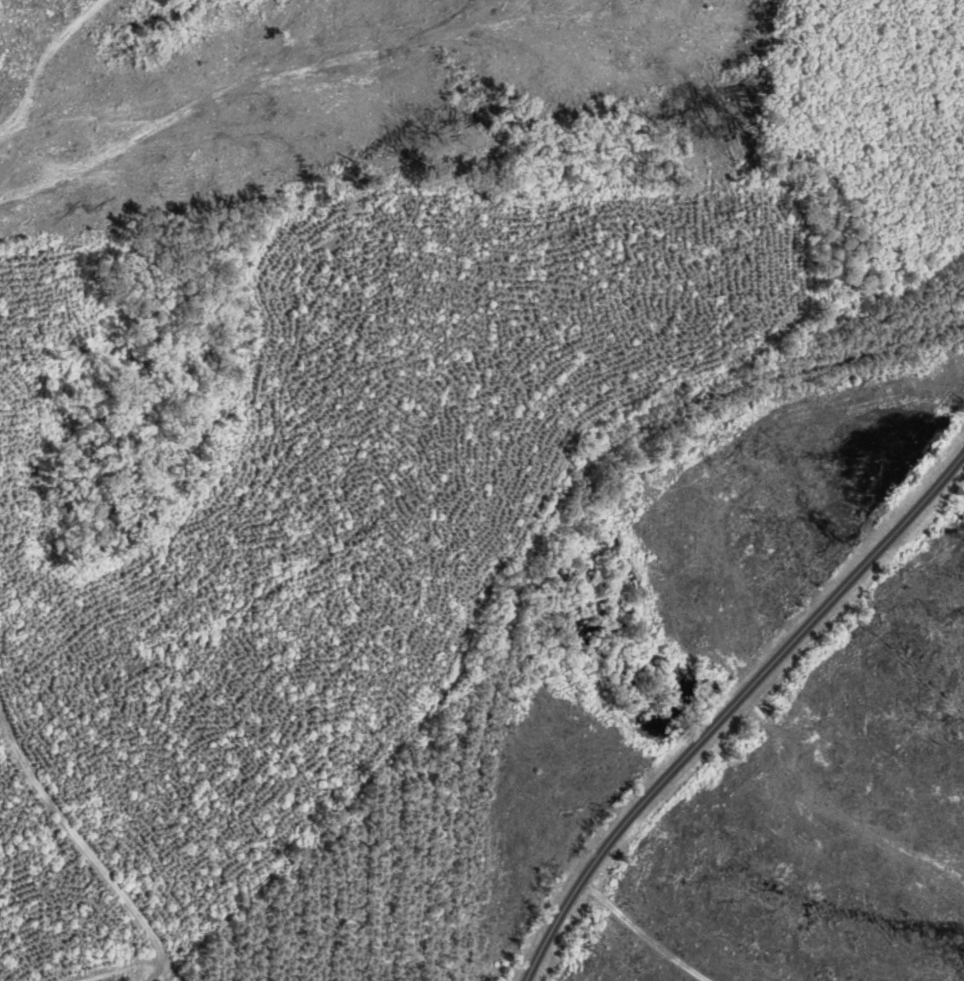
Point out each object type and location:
road: (731, 706)

